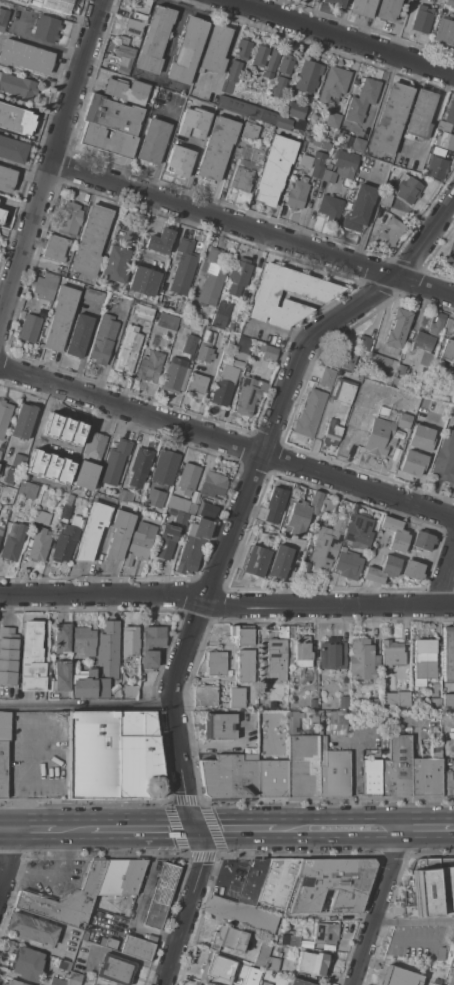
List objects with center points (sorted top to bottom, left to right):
building: (18, 2)
building: (334, 2)
building: (55, 3)
building: (450, 3)
building: (138, 5)
building: (363, 7)
building: (388, 9)
building: (139, 16)
building: (3, 19)
building: (422, 19)
building: (132, 27)
building: (46, 28)
building: (445, 32)
road: (342, 37)
building: (154, 39)
building: (123, 40)
building: (242, 49)
building: (187, 50)
building: (215, 50)
building: (25, 56)
building: (260, 56)
building: (124, 58)
building: (271, 64)
building: (286, 64)
building: (234, 71)
building: (308, 76)
building: (333, 84)
building: (17, 86)
building: (278, 87)
building: (125, 90)
building: (265, 99)
building: (362, 100)
building: (233, 105)
building: (296, 110)
building: (255, 113)
building: (420, 115)
building: (269, 117)
building: (447, 117)
building: (16, 119)
building: (390, 119)
building: (333, 120)
building: (192, 123)
building: (284, 123)
building: (110, 126)
building: (250, 131)
building: (444, 140)
building: (153, 141)
building: (346, 141)
building: (324, 144)
building: (358, 145)
building: (217, 148)
building: (12, 150)
building: (179, 151)
building: (438, 151)
building: (345, 163)
building: (329, 165)
road: (52, 166)
building: (437, 168)
building: (247, 170)
building: (274, 170)
building: (318, 170)
building: (329, 176)
building: (7, 178)
building: (407, 188)
building: (297, 194)
building: (384, 201)
building: (0, 202)
building: (0, 206)
building: (330, 208)
building: (359, 208)
building: (1, 214)
building: (70, 219)
building: (379, 220)
road: (253, 230)
building: (390, 233)
building: (90, 241)
building: (155, 243)
building: (55, 248)
building: (450, 255)
building: (115, 264)
building: (183, 266)
building: (134, 275)
building: (239, 275)
building: (210, 278)
building: (151, 284)
road: (7, 286)
building: (45, 286)
building: (138, 290)
building: (93, 295)
building: (316, 295)
building: (46, 306)
building: (179, 307)
building: (142, 313)
building: (221, 314)
building: (60, 318)
building: (167, 321)
building: (448, 324)
building: (29, 328)
building: (398, 328)
building: (430, 333)
building: (79, 335)
building: (191, 336)
building: (103, 340)
building: (364, 342)
building: (242, 348)
building: (128, 350)
building: (448, 352)
building: (205, 353)
building: (270, 353)
building: (344, 357)
building: (427, 358)
building: (383, 363)
building: (150, 366)
building: (401, 369)
building: (175, 375)
building: (327, 377)
building: (196, 385)
building: (224, 385)
building: (419, 391)
building: (247, 396)
building: (339, 411)
building: (310, 415)
building: (4, 417)
building: (453, 419)
building: (23, 421)
building: (403, 421)
building: (380, 431)
building: (47, 432)
building: (71, 438)
building: (420, 438)
road: (227, 442)
building: (0, 452)
building: (445, 458)
building: (18, 461)
building: (90, 461)
building: (115, 462)
building: (412, 463)
building: (140, 467)
building: (165, 467)
building: (61, 470)
building: (40, 475)
building: (9, 476)
building: (54, 483)
building: (27, 489)
building: (212, 489)
building: (126, 496)
building: (69, 498)
building: (155, 498)
building: (315, 501)
building: (178, 503)
building: (275, 504)
building: (1, 506)
building: (327, 506)
building: (207, 510)
building: (65, 512)
building: (42, 517)
building: (181, 517)
building: (297, 519)
building: (358, 527)
building: (1, 530)
building: (92, 531)
building: (119, 533)
building: (394, 533)
building: (66, 540)
building: (13, 541)
building: (422, 541)
building: (140, 542)
building: (166, 542)
building: (39, 544)
building: (193, 546)
building: (325, 546)
building: (255, 561)
building: (279, 562)
road: (222, 563)
building: (347, 564)
building: (382, 570)
building: (412, 570)
building: (332, 578)
road: (447, 584)
road: (225, 606)
building: (282, 632)
building: (291, 632)
building: (242, 634)
building: (62, 638)
building: (84, 640)
building: (130, 641)
building: (152, 645)
building: (332, 653)
building: (448, 653)
building: (8, 655)
building: (302, 655)
building: (391, 655)
building: (108, 656)
building: (32, 658)
building: (362, 659)
building: (275, 660)
building: (424, 661)
building: (215, 663)
building: (245, 666)
building: (62, 675)
building: (85, 684)
building: (129, 688)
building: (435, 688)
building: (402, 694)
building: (204, 696)
building: (236, 698)
building: (448, 700)
building: (343, 702)
building: (369, 702)
building: (434, 703)
road: (87, 708)
building: (313, 720)
building: (337, 724)
building: (218, 726)
building: (436, 742)
building: (3, 752)
building: (114, 756)
building: (301, 760)
building: (396, 768)
building: (333, 773)
building: (229, 774)
building: (270, 774)
building: (425, 776)
building: (371, 777)
building: (449, 779)
road: (343, 817)
road: (431, 817)
road: (234, 818)
traffic signals: (193, 826)
road: (142, 828)
road: (6, 830)
road: (34, 830)
road: (73, 830)
road: (323, 835)
road: (9, 865)
building: (121, 876)
building: (278, 883)
building: (330, 885)
building: (429, 888)
building: (161, 895)
building: (66, 898)
building: (245, 900)
road: (381, 901)
road: (346, 916)
road: (414, 920)
building: (32, 929)
building: (325, 934)
building: (228, 938)
building: (294, 940)
road: (406, 940)
building: (110, 943)
building: (137, 948)
building: (262, 953)
building: (26, 963)
building: (312, 963)
building: (272, 964)
building: (64, 965)
building: (115, 969)
building: (218, 969)
building: (252, 976)
building: (451, 976)
building: (399, 977)
building: (73, 978)
building: (57, 981)
building: (299, 982)
building: (13, 983)
building: (264, 983)
building: (92, 984)
building: (194, 984)
building: (196, 984)
building: (430, 984)
building: (434, 984)

